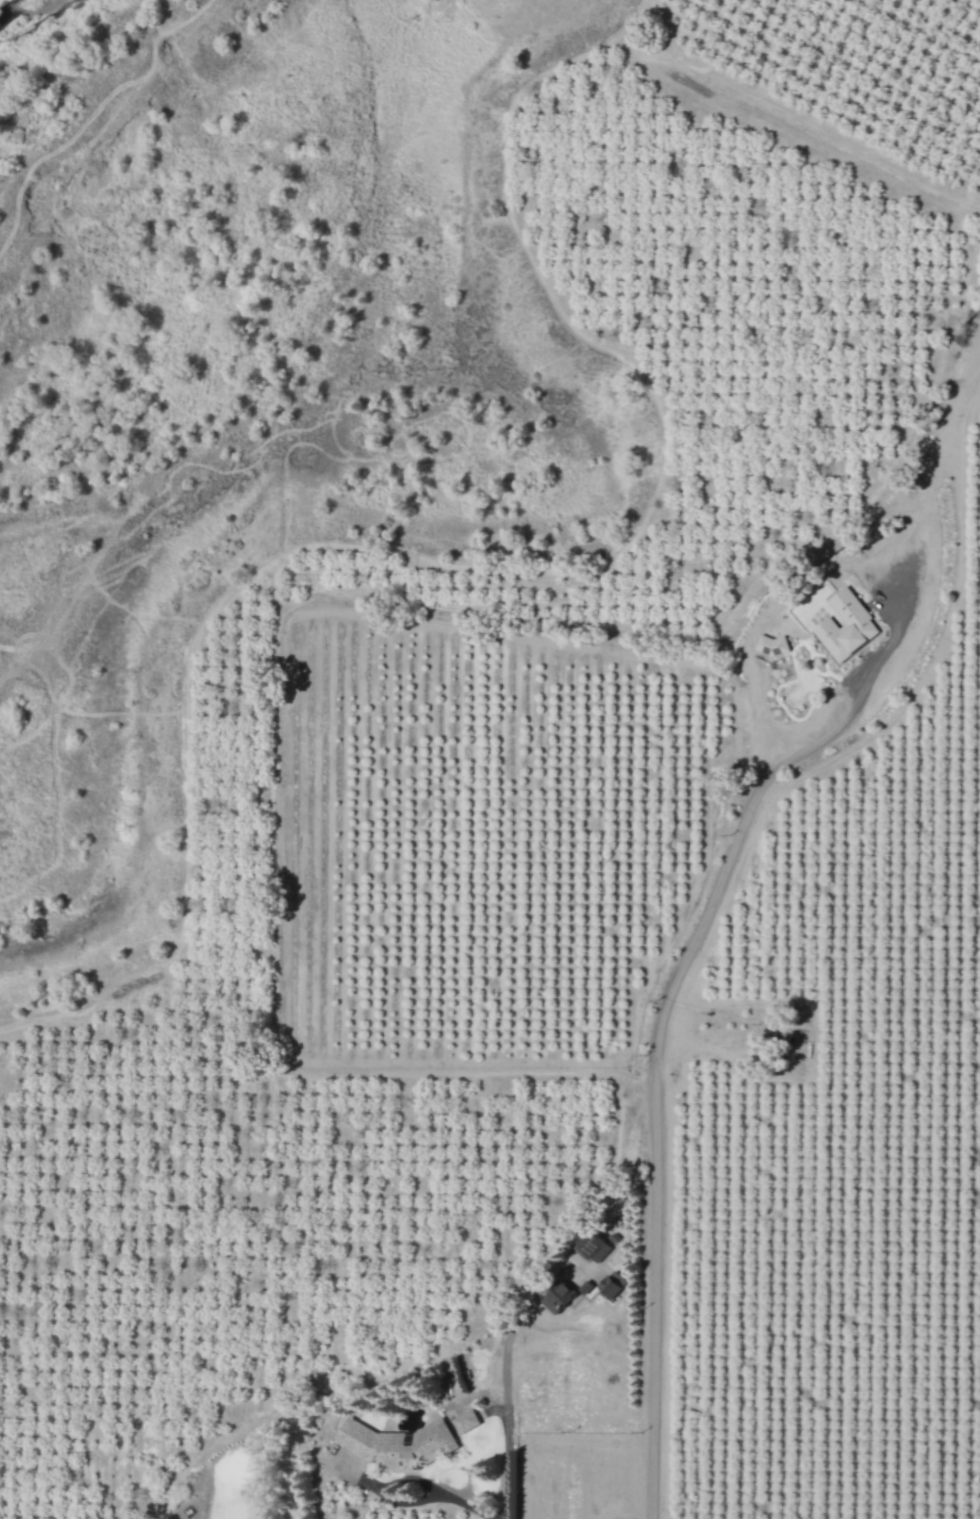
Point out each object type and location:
river: (38, 22)
building: (845, 626)
building: (771, 645)
road: (653, 1073)
building: (611, 1286)
building: (558, 1297)
road: (507, 1409)
building: (465, 1422)
building: (395, 1444)
road: (378, 1484)
road: (452, 1499)
road: (408, 1501)

